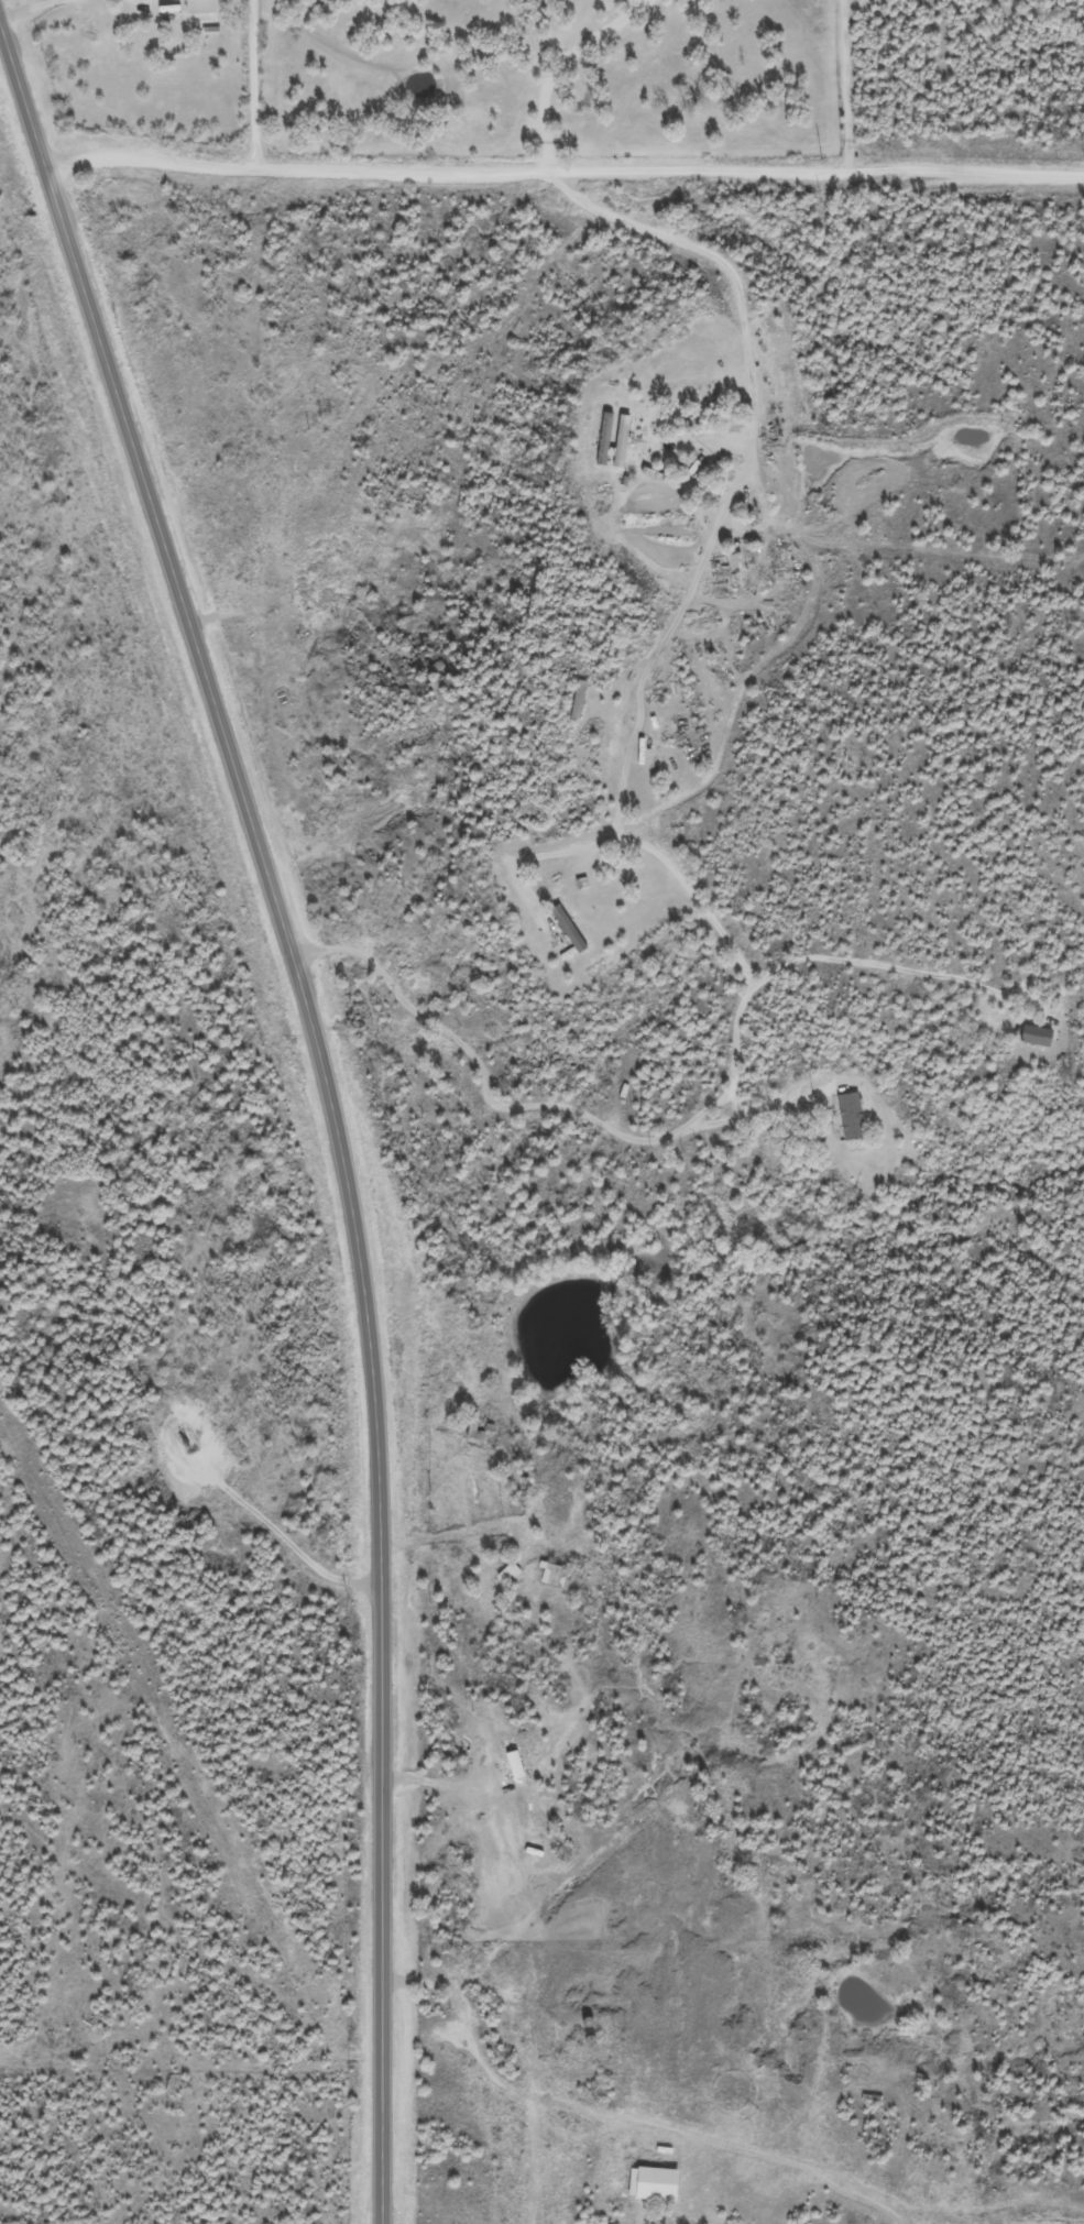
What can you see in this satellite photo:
building: (204, 6)
road: (562, 165)
building: (604, 437)
building: (696, 470)
building: (543, 880)
building: (1037, 1036)
road: (329, 1097)
building: (851, 1116)
building: (475, 1433)
building: (507, 1574)
building: (554, 1575)
building: (657, 2183)

